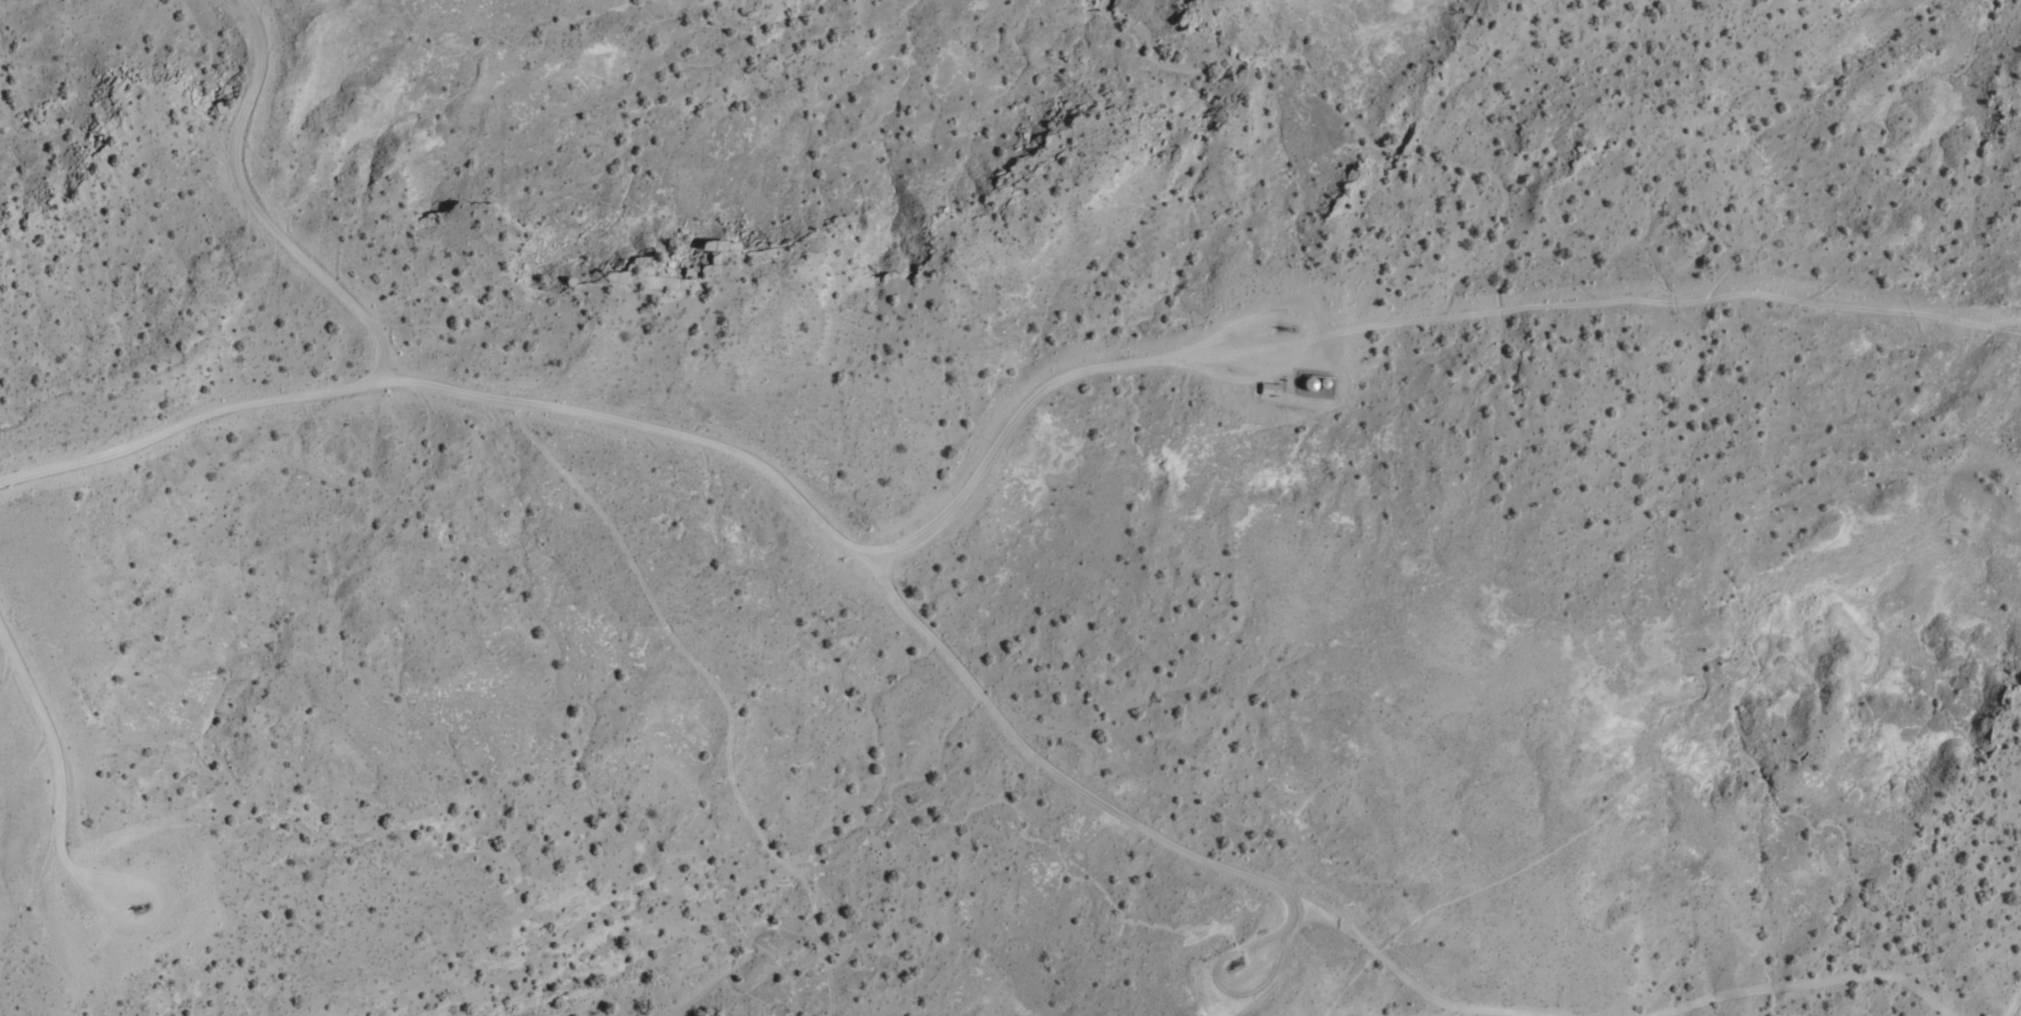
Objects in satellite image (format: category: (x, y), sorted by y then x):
road: (10, 475)
road: (533, 486)
road: (1812, 972)
road: (1636, 1005)

